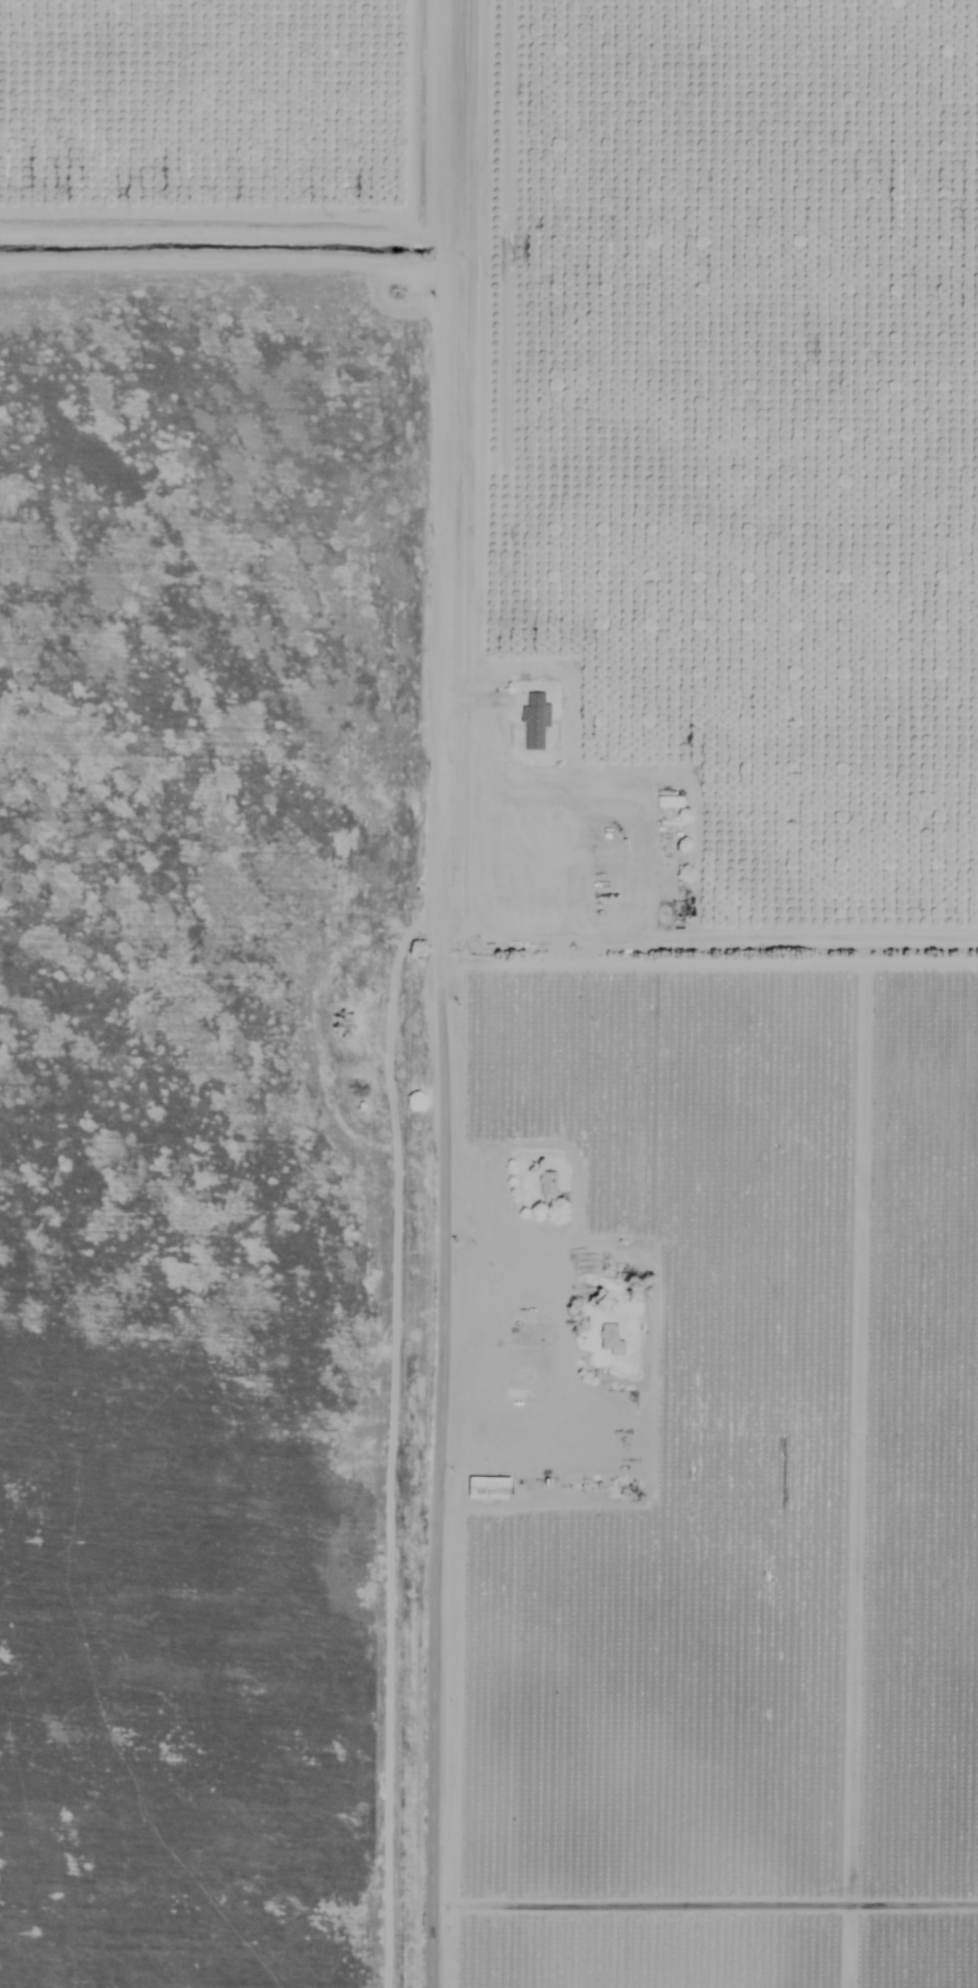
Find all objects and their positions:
road: (447, 455)
building: (532, 720)
crop: (219, 838)
building: (545, 1182)
building: (609, 1338)
road: (437, 1449)
building: (486, 1486)
crop: (212, 1525)
crop: (213, 1737)
crop: (212, 1916)

